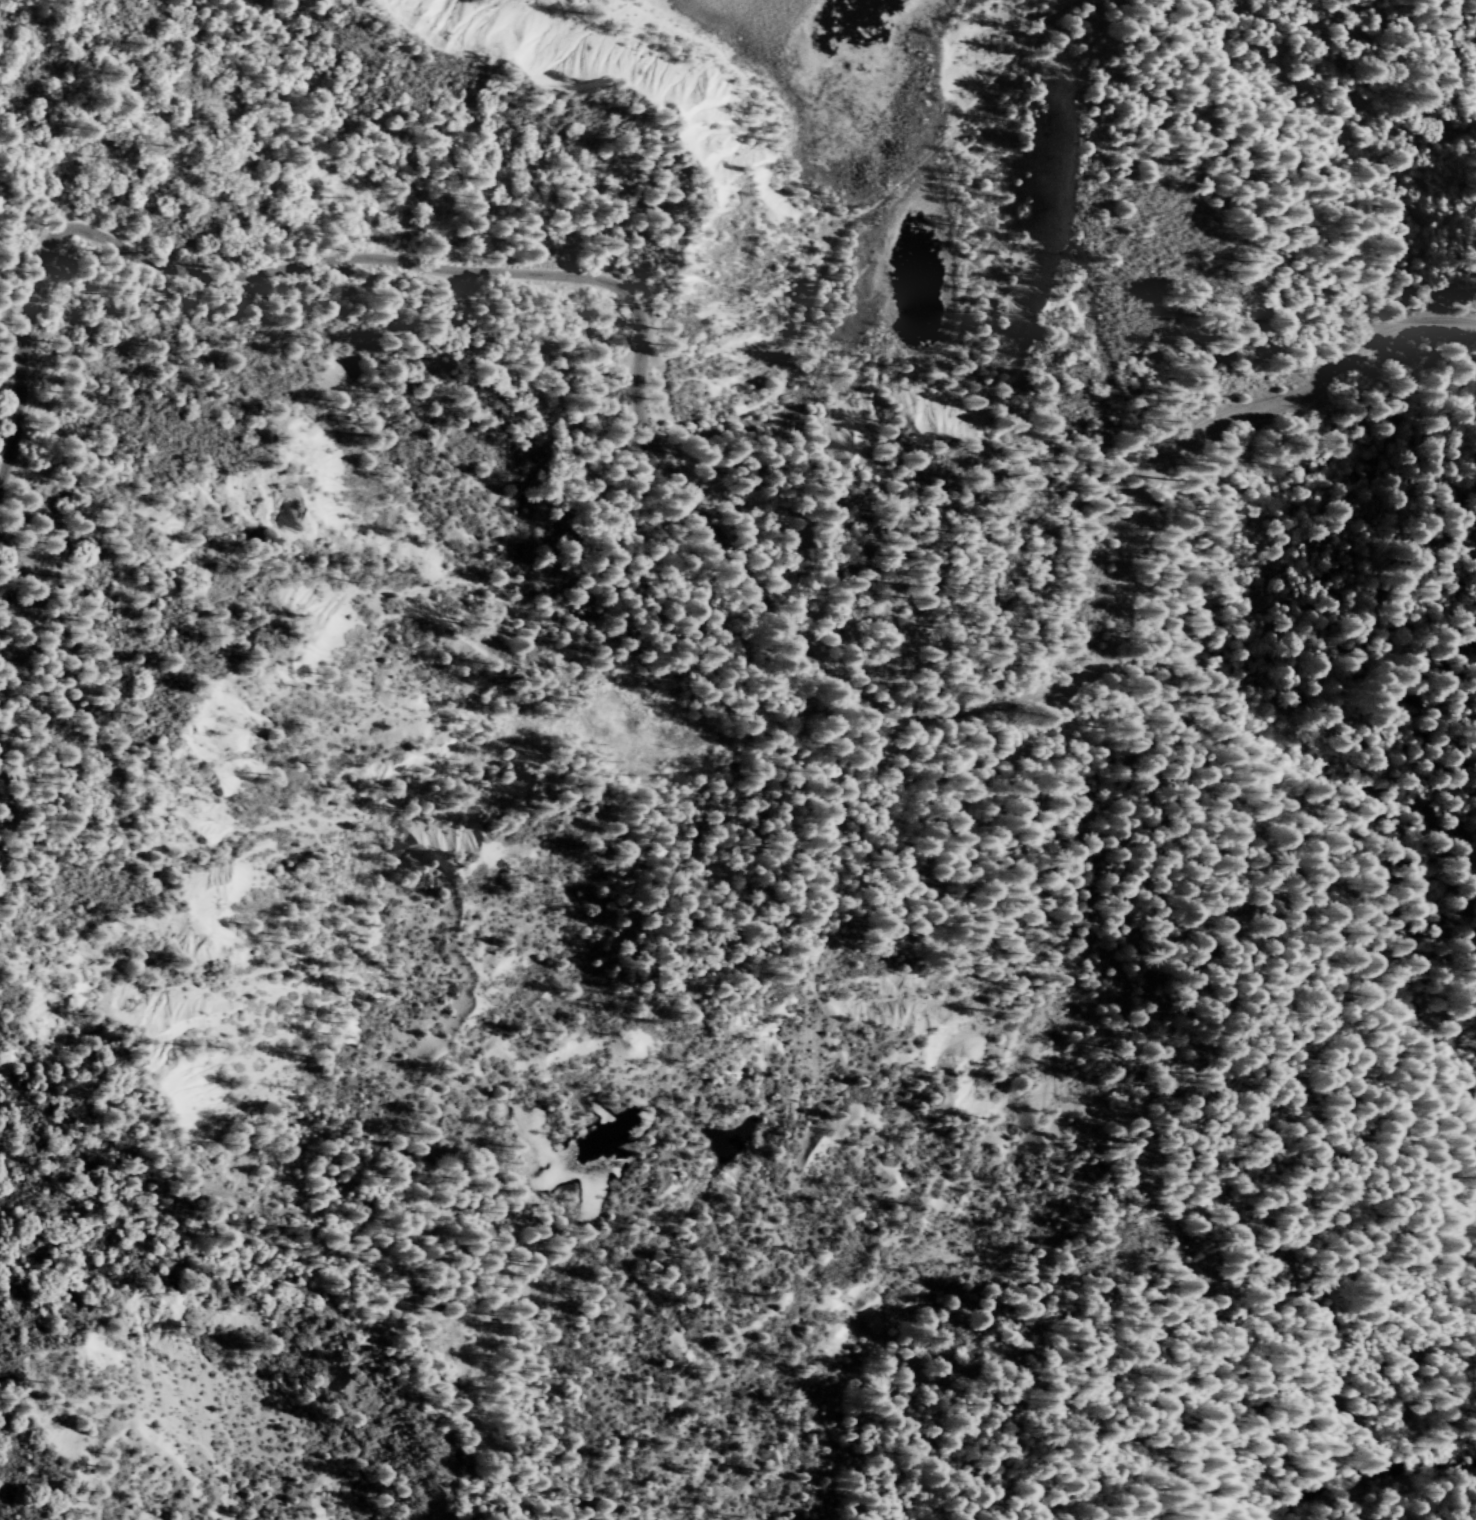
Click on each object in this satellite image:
road: (1302, 167)
road: (835, 219)
park: (824, 238)
road: (493, 271)
road: (778, 385)
road: (1156, 472)
parking lot: (1040, 716)
road: (1258, 857)
park: (705, 965)
road: (1370, 1445)

